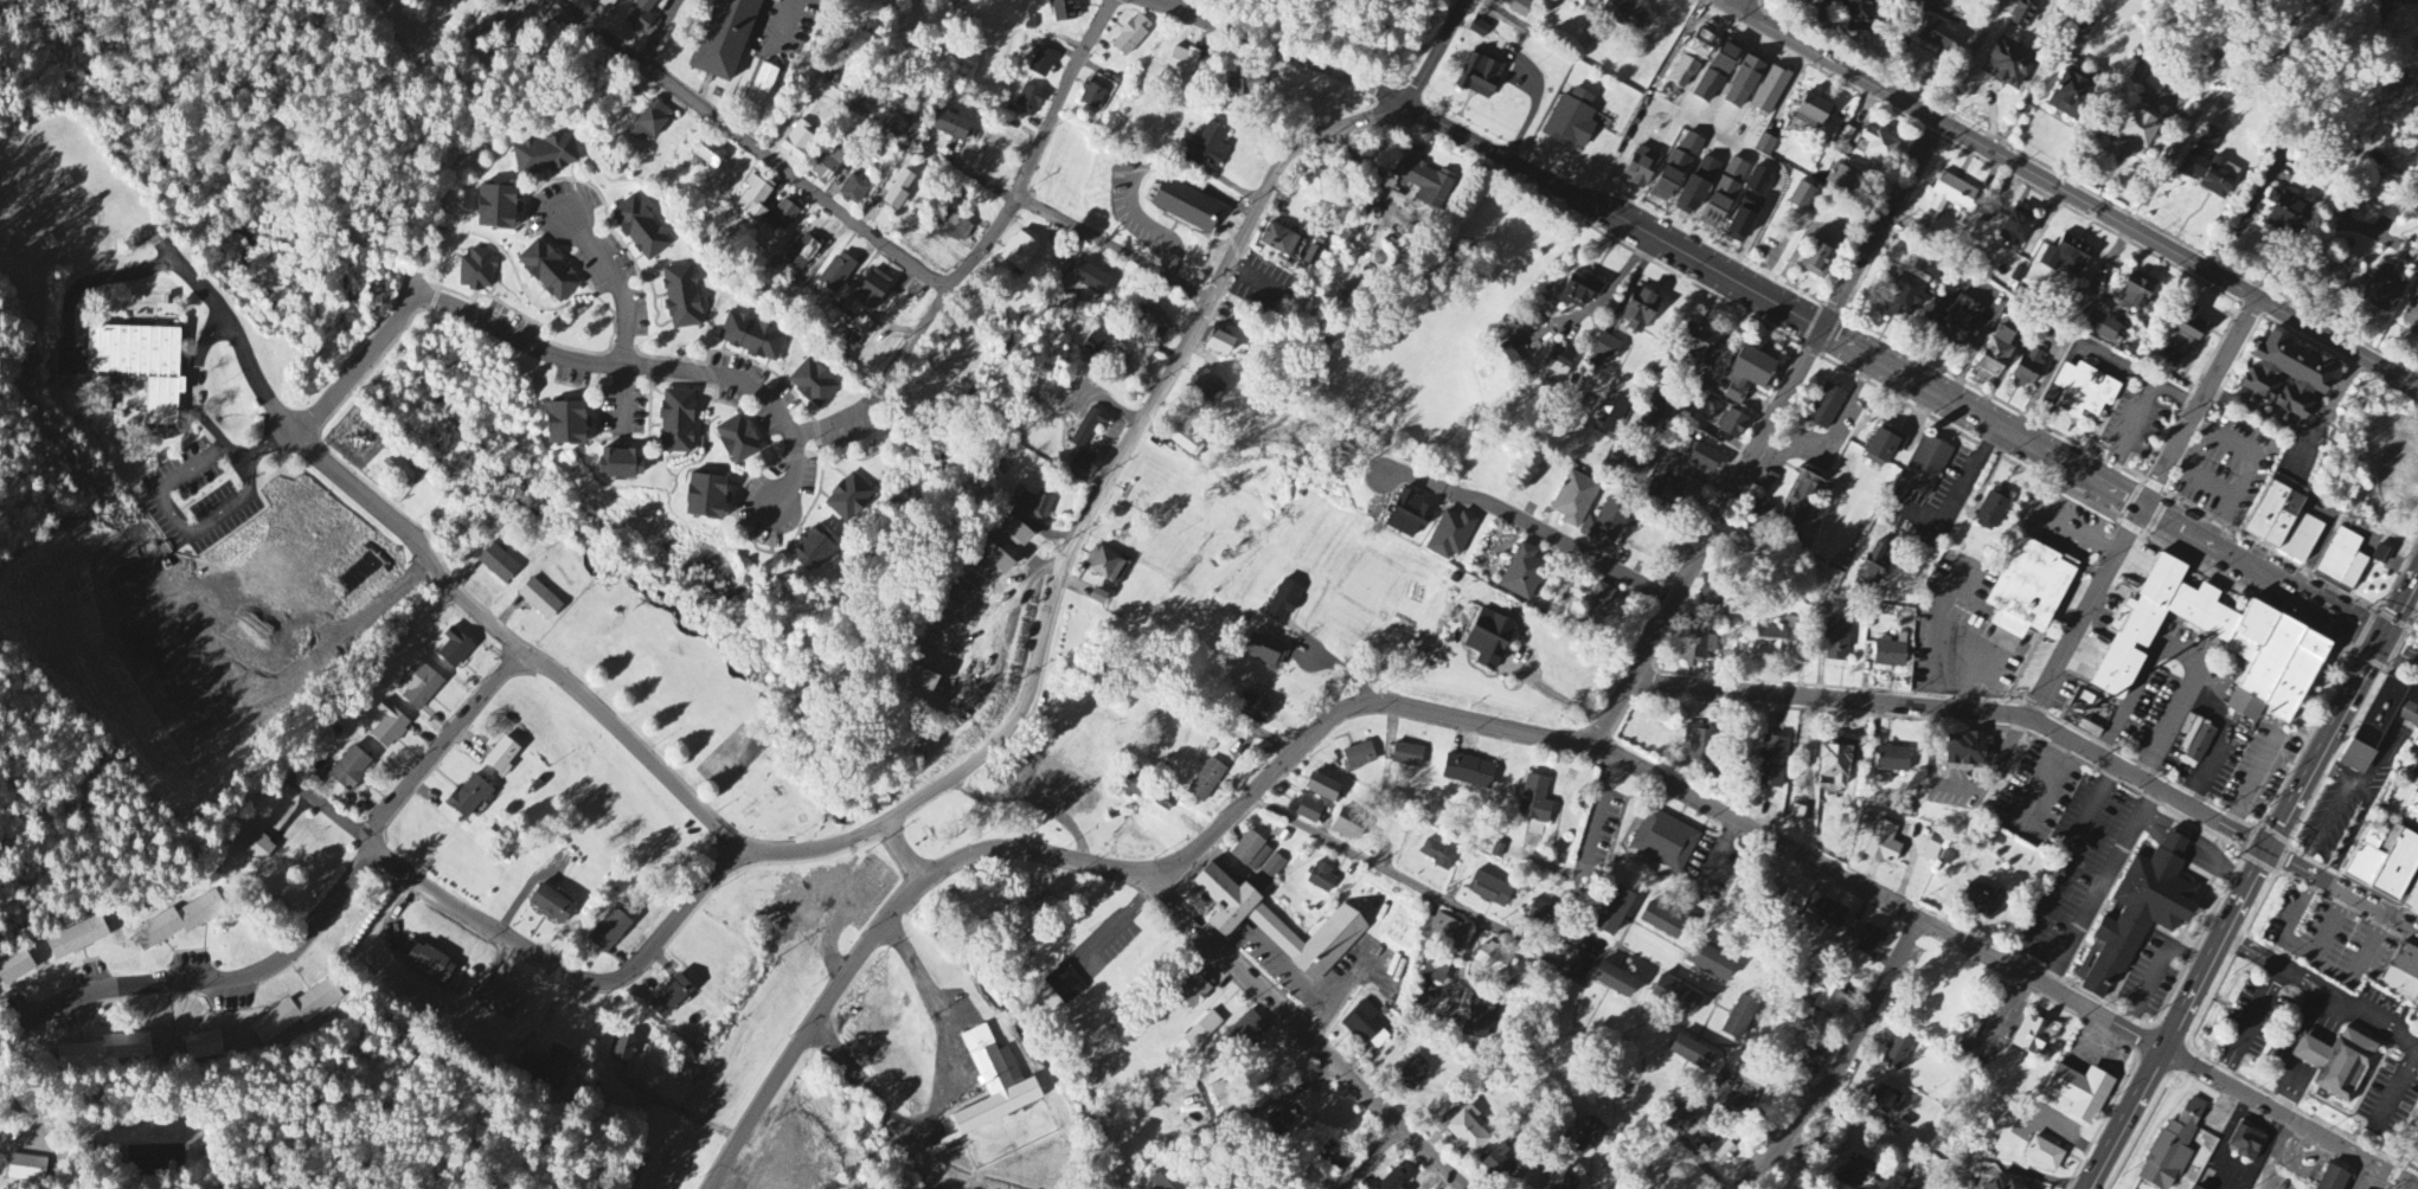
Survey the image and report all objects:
building: (441, 0)
building: (964, 0)
building: (461, 1)
building: (1593, 1)
road: (1160, 2)
building: (1796, 2)
building: (604, 4)
road: (1747, 7)
building: (2386, 7)
building: (1520, 8)
building: (1063, 12)
road: (422, 13)
building: (1627, 14)
building: (2023, 14)
building: (641, 17)
road: (787, 17)
building: (1856, 17)
parking lot: (782, 26)
building: (2083, 26)
road: (599, 33)
road: (661, 33)
building: (725, 37)
building: (1131, 37)
building: (1938, 37)
building: (551, 41)
road: (1437, 52)
road: (1829, 62)
building: (1182, 63)
building: (1041, 64)
building: (2008, 65)
building: (1714, 76)
building: (1480, 77)
building: (764, 79)
building: (1244, 85)
building: (1743, 85)
building: (1770, 92)
building: (2069, 95)
road: (1065, 97)
building: (1091, 98)
building: (1028, 102)
building: (1811, 113)
building: (1571, 121)
building: (649, 123)
building: (950, 127)
building: (1846, 136)
building: (2135, 136)
building: (797, 142)
building: (2208, 142)
building: (1691, 146)
building: (1765, 146)
building: (1877, 147)
building: (1205, 149)
road: (1489, 149)
building: (708, 154)
building: (546, 156)
building: (827, 166)
building: (1641, 168)
building: (1736, 171)
building: (2209, 176)
building: (1670, 178)
building: (1314, 180)
building: (1841, 181)
road: (798, 182)
building: (1758, 182)
building: (1424, 185)
building: (1697, 188)
building: (1727, 189)
building: (898, 191)
building: (853, 192)
building: (1952, 197)
building: (1801, 198)
building: (755, 199)
road: (1012, 207)
building: (1185, 207)
building: (495, 210)
building: (1713, 213)
building: (784, 214)
building: (1744, 219)
road: (1881, 226)
building: (954, 229)
building: (2015, 229)
building: (641, 230)
building: (1278, 242)
building: (802, 252)
building: (1019, 255)
building: (2410, 255)
building: (1313, 257)
building: (2066, 257)
road: (2179, 257)
building: (1820, 258)
building: (476, 271)
building: (547, 272)
building: (836, 275)
building: (1091, 281)
road: (91, 282)
road: (620, 287)
building: (872, 290)
building: (2384, 291)
building: (1577, 294)
building: (2136, 294)
building: (1907, 296)
building: (681, 298)
building: (2104, 307)
building: (1638, 311)
building: (2411, 314)
building: (1152, 320)
building: (1954, 321)
building: (859, 328)
building: (2102, 329)
building: (2186, 333)
building: (752, 339)
building: (1694, 343)
building: (1092, 345)
building: (1218, 346)
building: (1606, 351)
building: (1513, 353)
building: (1996, 354)
building: (1559, 362)
building: (140, 367)
building: (2028, 369)
road: (650, 373)
road: (363, 375)
building: (1746, 375)
road: (194, 379)
building: (2286, 379)
building: (813, 385)
building: (1205, 387)
building: (1702, 392)
building: (2084, 393)
road: (622, 399)
road: (2199, 403)
building: (1828, 410)
building: (1655, 412)
road: (1052, 416)
building: (1615, 416)
road: (836, 420)
building: (675, 424)
building: (565, 425)
building: (1732, 426)
road: (2302, 435)
building: (737, 442)
building: (1185, 443)
building: (1086, 444)
road: (1129, 448)
building: (1884, 448)
road: (259, 450)
building: (1699, 456)
road: (2051, 456)
road: (319, 457)
building: (617, 465)
road: (1680, 468)
building: (1925, 468)
parking lot: (2219, 473)
road: (1962, 489)
building: (706, 499)
building: (1682, 499)
building: (848, 500)
building: (1573, 500)
building: (1798, 500)
building: (1035, 506)
building: (1992, 512)
building: (2271, 514)
building: (1762, 515)
building: (1409, 516)
road: (2053, 519)
building: (1608, 520)
road: (182, 523)
road: (1533, 528)
building: (1015, 533)
building: (1450, 536)
building: (2300, 536)
road: (1707, 539)
building: (1746, 542)
building: (813, 551)
building: (2382, 555)
building: (2342, 558)
building: (992, 559)
building: (498, 564)
building: (1103, 565)
building: (1874, 565)
building: (360, 574)
building: (1522, 574)
building: (2032, 583)
building: (1098, 598)
building: (539, 600)
building: (1707, 600)
building: (1283, 603)
road: (2400, 606)
road: (2329, 610)
road: (2084, 611)
building: (1602, 613)
building: (2416, 622)
building: (2157, 623)
building: (2416, 629)
building: (2247, 631)
road: (1946, 635)
building: (1488, 640)
building: (1776, 640)
traffic signals: (2382, 640)
building: (1837, 642)
building: (455, 649)
building: (1695, 649)
road: (2399, 649)
road: (2183, 650)
building: (1264, 651)
building: (1890, 655)
road: (541, 664)
building: (2263, 669)
road: (1341, 675)
building: (2294, 676)
building: (419, 686)
road: (1829, 696)
road: (1559, 698)
building: (1250, 708)
building: (2407, 714)
building: (389, 727)
building: (2373, 727)
building: (1700, 743)
building: (2416, 744)
road: (2327, 746)
building: (2199, 748)
building: (1969, 751)
building: (500, 757)
building: (1359, 757)
building: (1407, 757)
building: (1890, 760)
building: (1772, 764)
road: (2209, 764)
building: (1833, 766)
building: (2414, 771)
building: (1468, 772)
building: (347, 773)
road: (1811, 777)
building: (1206, 782)
road: (2258, 783)
road: (2147, 784)
building: (1131, 786)
building: (1321, 789)
parking lot: (2037, 791)
road: (1262, 792)
building: (469, 798)
building: (1166, 802)
building: (1534, 805)
building: (1308, 811)
road: (334, 814)
building: (2407, 816)
building: (1796, 817)
building: (1347, 829)
road: (2153, 829)
road: (1758, 833)
building: (251, 842)
building: (1665, 842)
road: (2175, 842)
road: (2202, 842)
building: (1883, 844)
road: (814, 849)
road: (906, 849)
building: (1251, 853)
building: (1931, 853)
traffic signals: (2270, 853)
building: (1438, 856)
road: (1719, 856)
road: (2209, 861)
building: (2356, 861)
road: (1585, 863)
road: (2294, 865)
road: (2061, 867)
building: (1274, 868)
building: (2387, 868)
building: (1321, 880)
road: (1419, 886)
road: (2103, 889)
building: (1490, 892)
building: (1797, 894)
road: (2405, 895)
building: (1223, 901)
building: (1982, 901)
building: (2411, 901)
building: (551, 906)
road: (2367, 906)
building: (2138, 912)
building: (1612, 913)
building: (1541, 914)
building: (1833, 917)
building: (179, 923)
building: (1661, 923)
building: (609, 932)
building: (1444, 933)
building: (78, 939)
building: (1311, 941)
building: (1868, 941)
road: (2257, 951)
road: (1279, 959)
building: (1492, 959)
building: (1710, 963)
building: (429, 965)
building: (15, 969)
building: (1436, 970)
road: (566, 971)
road: (2294, 971)
road: (209, 981)
building: (1614, 982)
building: (1065, 985)
road: (2042, 985)
building: (2399, 985)
building: (1195, 992)
building: (669, 998)
building: (1674, 998)
building: (1826, 1001)
building: (496, 1002)
road: (2327, 1004)
building: (296, 1014)
building: (1481, 1020)
building: (1738, 1020)
road: (2182, 1021)
road: (2251, 1023)
road: (1323, 1026)
building: (1367, 1027)
road: (814, 1029)
building: (1201, 1031)
building: (1245, 1033)
road: (1306, 1034)
building: (2032, 1035)
building: (204, 1047)
building: (108, 1050)
building: (623, 1050)
building: (1691, 1054)
building: (1896, 1055)
building: (1814, 1058)
road: (1840, 1062)
building: (2328, 1065)
building: (547, 1066)
building: (1413, 1073)
building: (994, 1085)
road: (2398, 1087)
road: (941, 1092)
building: (2080, 1093)
building: (1887, 1101)
road: (1246, 1110)
road: (1752, 1116)
road: (2291, 1120)
building: (1682, 1121)
building: (1467, 1133)
building: (1584, 1138)
building: (2233, 1145)
building: (2173, 1148)
building: (1721, 1151)
building: (1332, 1156)
road: (1362, 1156)
building: (2044, 1156)
building: (1497, 1163)
building: (27, 1169)
building: (1856, 1174)
building: (2332, 1178)
building: (1166, 1180)
building: (1392, 1180)
building: (1669, 1181)
building: (1560, 1182)
building: (2002, 1184)
building: (2193, 1188)

